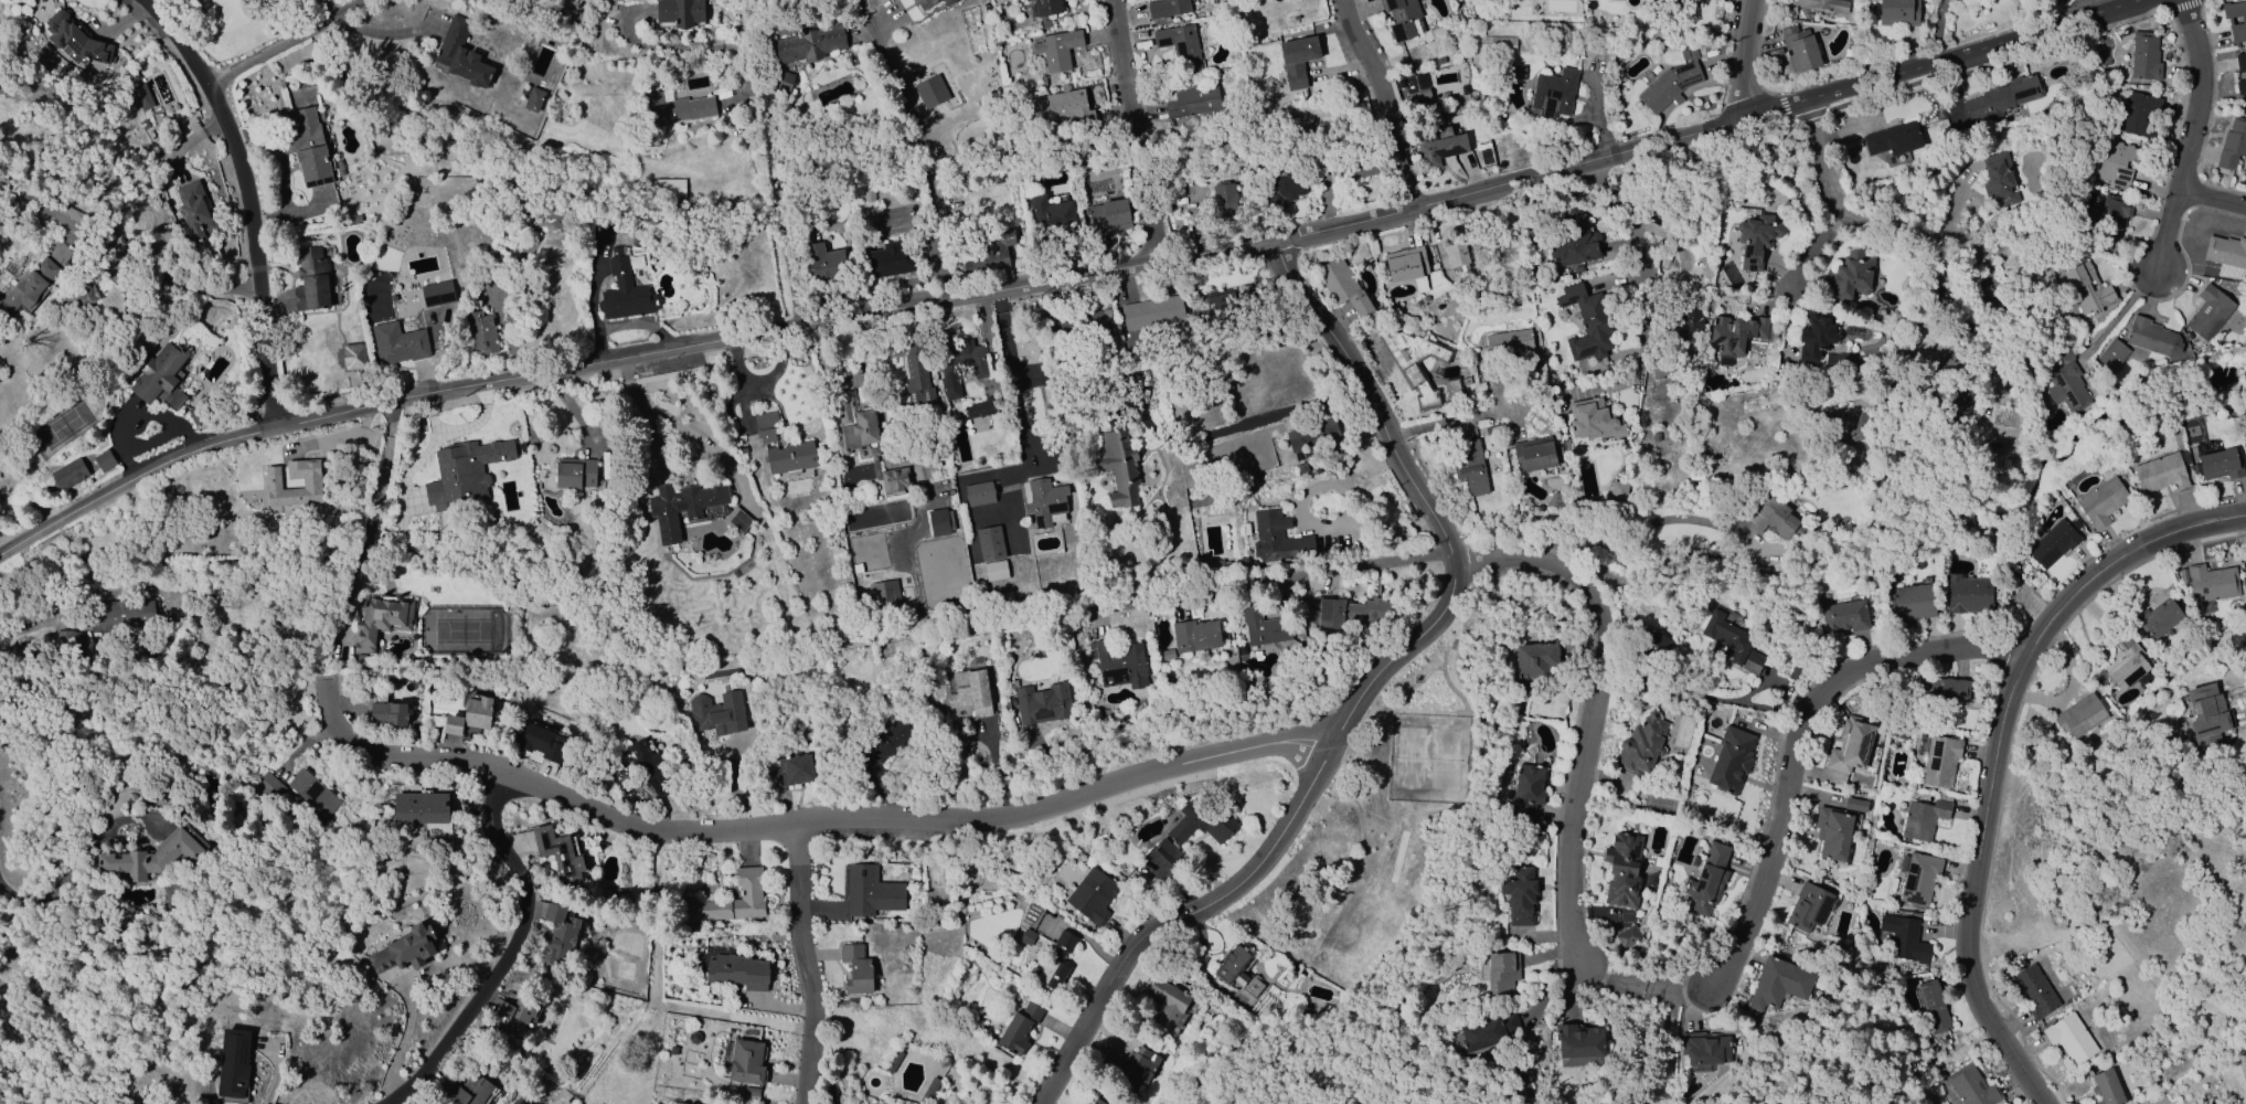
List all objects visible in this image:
building: (946, 1)
building: (924, 3)
building: (1822, 4)
building: (1165, 8)
building: (1046, 11)
building: (680, 12)
building: (1898, 12)
building: (1403, 19)
building: (2235, 20)
road: (1938, 30)
road: (387, 33)
building: (75, 41)
road: (287, 44)
building: (809, 44)
building: (1491, 45)
building: (1180, 46)
building: (1057, 50)
building: (1799, 52)
building: (460, 54)
building: (2144, 55)
building: (1296, 61)
road: (1744, 61)
building: (2240, 62)
building: (1515, 73)
building: (779, 82)
building: (1671, 82)
building: (2240, 86)
building: (932, 92)
building: (1553, 94)
building: (141, 97)
building: (2002, 97)
building: (533, 99)
building: (1193, 102)
road: (1384, 102)
building: (1065, 103)
building: (677, 108)
road: (756, 109)
building: (2142, 116)
road: (1138, 131)
road: (2192, 137)
building: (1893, 139)
building: (2233, 144)
road: (917, 147)
building: (309, 148)
building: (1438, 148)
building: (2115, 161)
building: (1364, 168)
building: (1998, 180)
building: (1285, 185)
building: (669, 188)
building: (867, 193)
building: (1224, 199)
road: (247, 200)
road: (2213, 201)
road: (1834, 204)
building: (1049, 210)
building: (194, 212)
building: (551, 212)
building: (1108, 216)
building: (2110, 220)
building: (1756, 240)
building: (1574, 242)
road: (125, 254)
building: (991, 254)
building: (1457, 255)
building: (2227, 256)
road: (1811, 257)
building: (890, 259)
building: (822, 261)
building: (1406, 264)
road: (1644, 276)
building: (1851, 276)
building: (310, 279)
road: (1063, 279)
building: (30, 288)
building: (1342, 288)
building: (2086, 288)
building: (624, 291)
building: (85, 294)
building: (437, 294)
road: (1927, 297)
building: (1989, 298)
building: (1226, 307)
building: (513, 312)
road: (2117, 312)
building: (2208, 312)
building: (1152, 314)
building: (1097, 321)
building: (1586, 323)
building: (1690, 323)
building: (480, 332)
building: (1737, 336)
building: (2152, 338)
building: (1813, 339)
building: (398, 343)
building: (1508, 343)
building: (2112, 353)
building: (353, 355)
building: (957, 361)
building: (1414, 361)
building: (916, 374)
road: (1012, 374)
building: (161, 375)
building: (2066, 381)
road: (1493, 386)
building: (1454, 389)
building: (1050, 396)
road: (1376, 399)
building: (983, 406)
building: (1960, 407)
building: (195, 414)
road: (1462, 418)
building: (1594, 420)
building: (765, 426)
building: (856, 426)
road: (685, 427)
building: (1845, 427)
building: (1312, 434)
building: (1534, 454)
building: (789, 457)
building: (104, 461)
road: (659, 461)
building: (1118, 465)
building: (2220, 465)
building: (1301, 468)
building: (1471, 468)
building: (464, 471)
building: (575, 473)
building: (2162, 473)
building: (68, 474)
building: (895, 479)
building: (311, 484)
road: (377, 489)
building: (979, 492)
building: (1617, 493)
building: (1044, 501)
building: (1555, 501)
building: (2101, 501)
building: (691, 509)
building: (1774, 518)
building: (938, 522)
road: (1644, 522)
building: (1279, 540)
building: (2053, 542)
building: (989, 543)
building: (835, 553)
building: (2245, 559)
road: (2116, 560)
building: (996, 571)
road: (1268, 582)
building: (2208, 584)
building: (884, 595)
building: (1969, 595)
building: (1912, 602)
building: (1353, 614)
building: (1844, 617)
building: (120, 618)
building: (2158, 618)
building: (380, 619)
building: (1264, 628)
building: (1194, 636)
building: (1728, 638)
building: (1658, 644)
building: (2127, 660)
building: (1117, 664)
building: (1534, 664)
building: (1753, 664)
building: (1796, 670)
building: (1941, 689)
building: (970, 692)
building: (1042, 703)
road: (1593, 708)
building: (717, 713)
building: (388, 714)
road: (2245, 714)
building: (470, 715)
building: (2207, 715)
building: (2078, 716)
building: (542, 741)
road: (1800, 744)
building: (1641, 745)
building: (1850, 745)
building: (882, 747)
building: (1731, 760)
building: (1939, 760)
building: (649, 768)
building: (791, 771)
building: (267, 786)
building: (1528, 792)
building: (313, 793)
building: (1854, 805)
building: (418, 808)
building: (1923, 818)
road: (808, 820)
building: (1201, 821)
building: (1832, 832)
building: (558, 853)
road: (1267, 853)
building: (152, 857)
building: (1157, 862)
building: (1622, 870)
building: (1918, 878)
building: (1707, 880)
road: (57, 883)
road: (1974, 890)
building: (871, 891)
building: (1092, 895)
building: (1520, 896)
building: (731, 900)
building: (1809, 907)
building: (1026, 936)
building: (1628, 938)
building: (1904, 938)
building: (557, 940)
building: (405, 949)
road: (509, 954)
building: (1055, 960)
road: (807, 964)
building: (855, 969)
building: (1236, 969)
building: (738, 972)
building: (1501, 973)
building: (1777, 985)
road: (1644, 988)
building: (2033, 990)
building: (1168, 1005)
building: (1934, 1007)
building: (517, 1010)
building: (1019, 1028)
building: (1487, 1031)
building: (2071, 1039)
building: (1578, 1044)
building: (1704, 1049)
building: (746, 1061)
building: (893, 1061)
building: (233, 1064)
building: (1133, 1066)
road: (274, 1078)
building: (1970, 1085)
building: (2106, 1089)
building: (470, 1090)
building: (928, 1091)
building: (751, 1092)
building: (1096, 1102)

